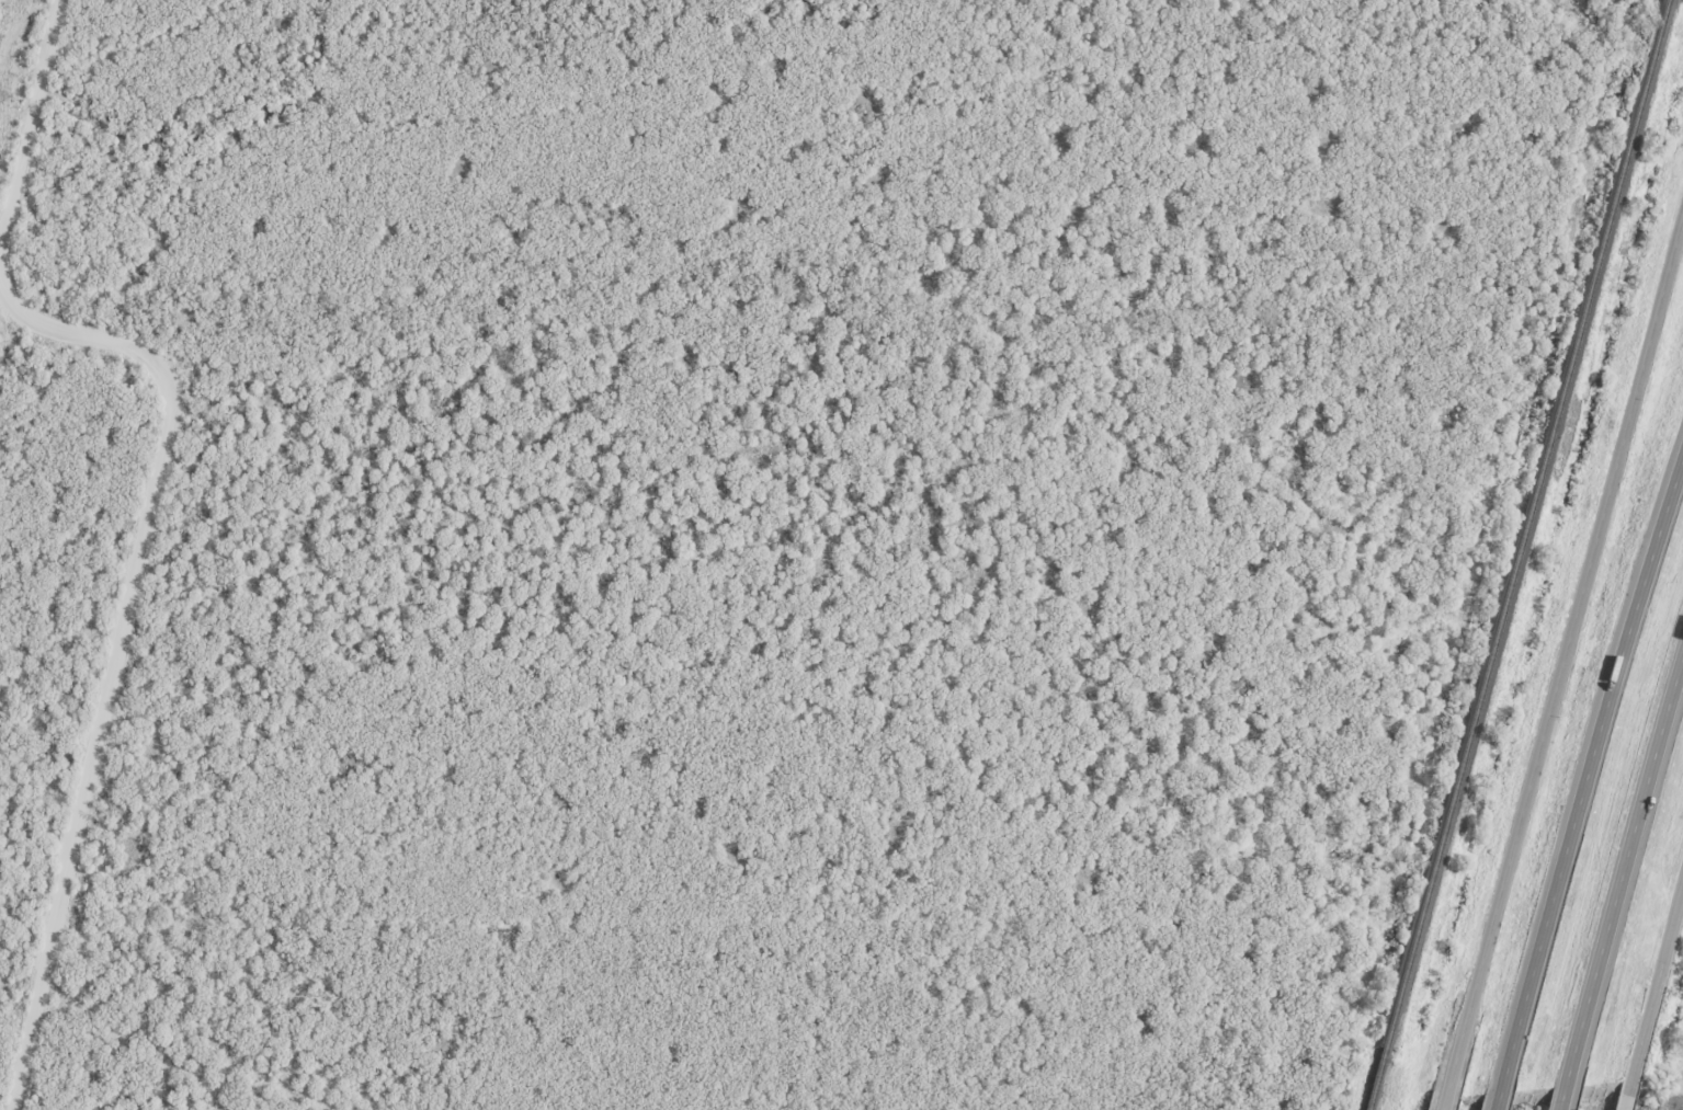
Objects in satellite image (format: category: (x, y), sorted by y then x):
road: (153, 508)
railway: (1524, 522)
road: (1565, 653)
road: (1584, 781)
road: (1623, 868)
road: (1657, 983)
railway: (1373, 1077)
road: (1626, 1095)
road: (1561, 1097)
road: (1444, 1101)

